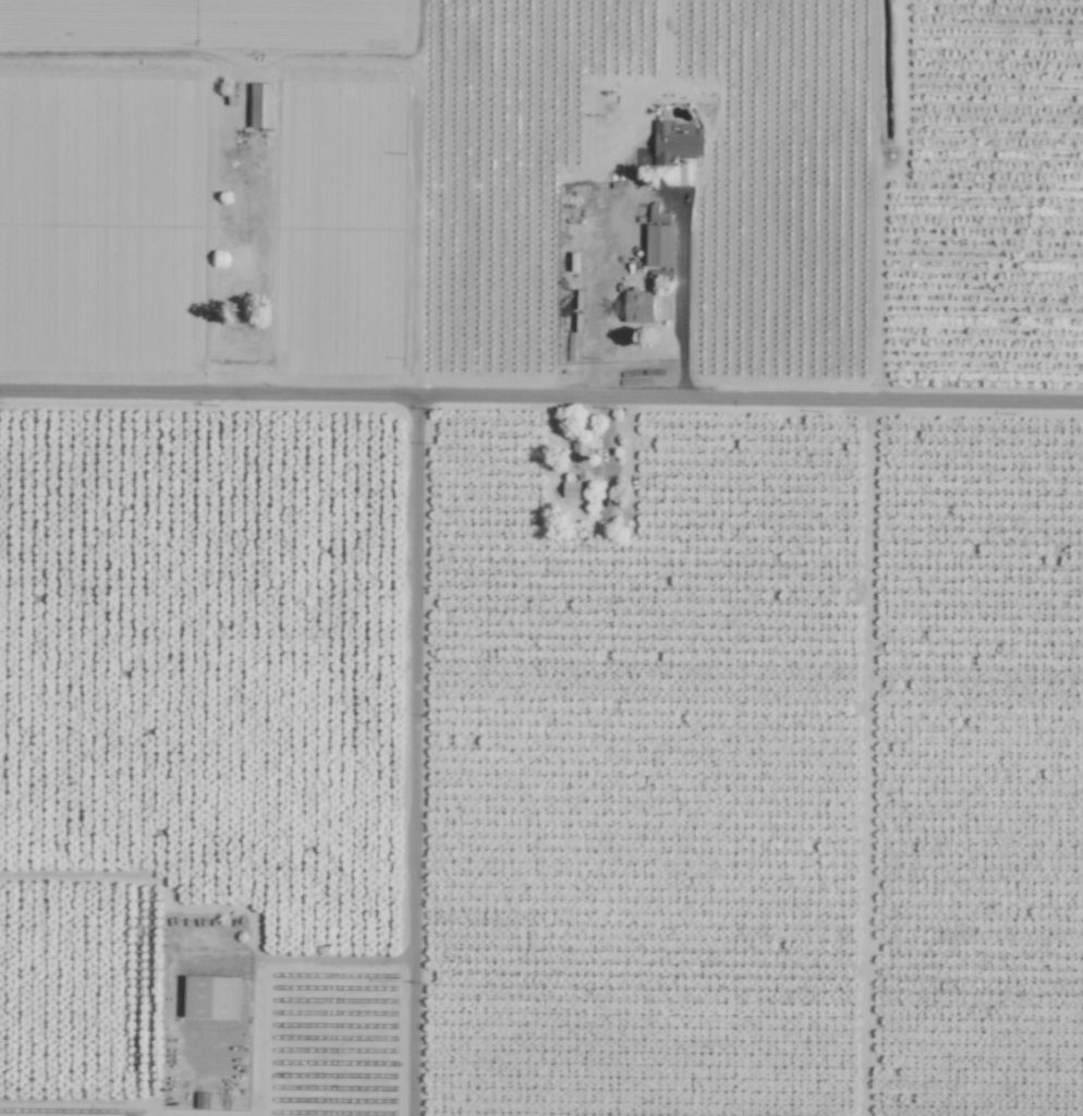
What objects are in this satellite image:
building: (261, 105)
building: (676, 143)
road: (650, 196)
building: (657, 235)
building: (638, 306)
road: (541, 392)
building: (579, 460)
building: (570, 488)
road: (412, 754)
building: (212, 997)
building: (202, 1100)

